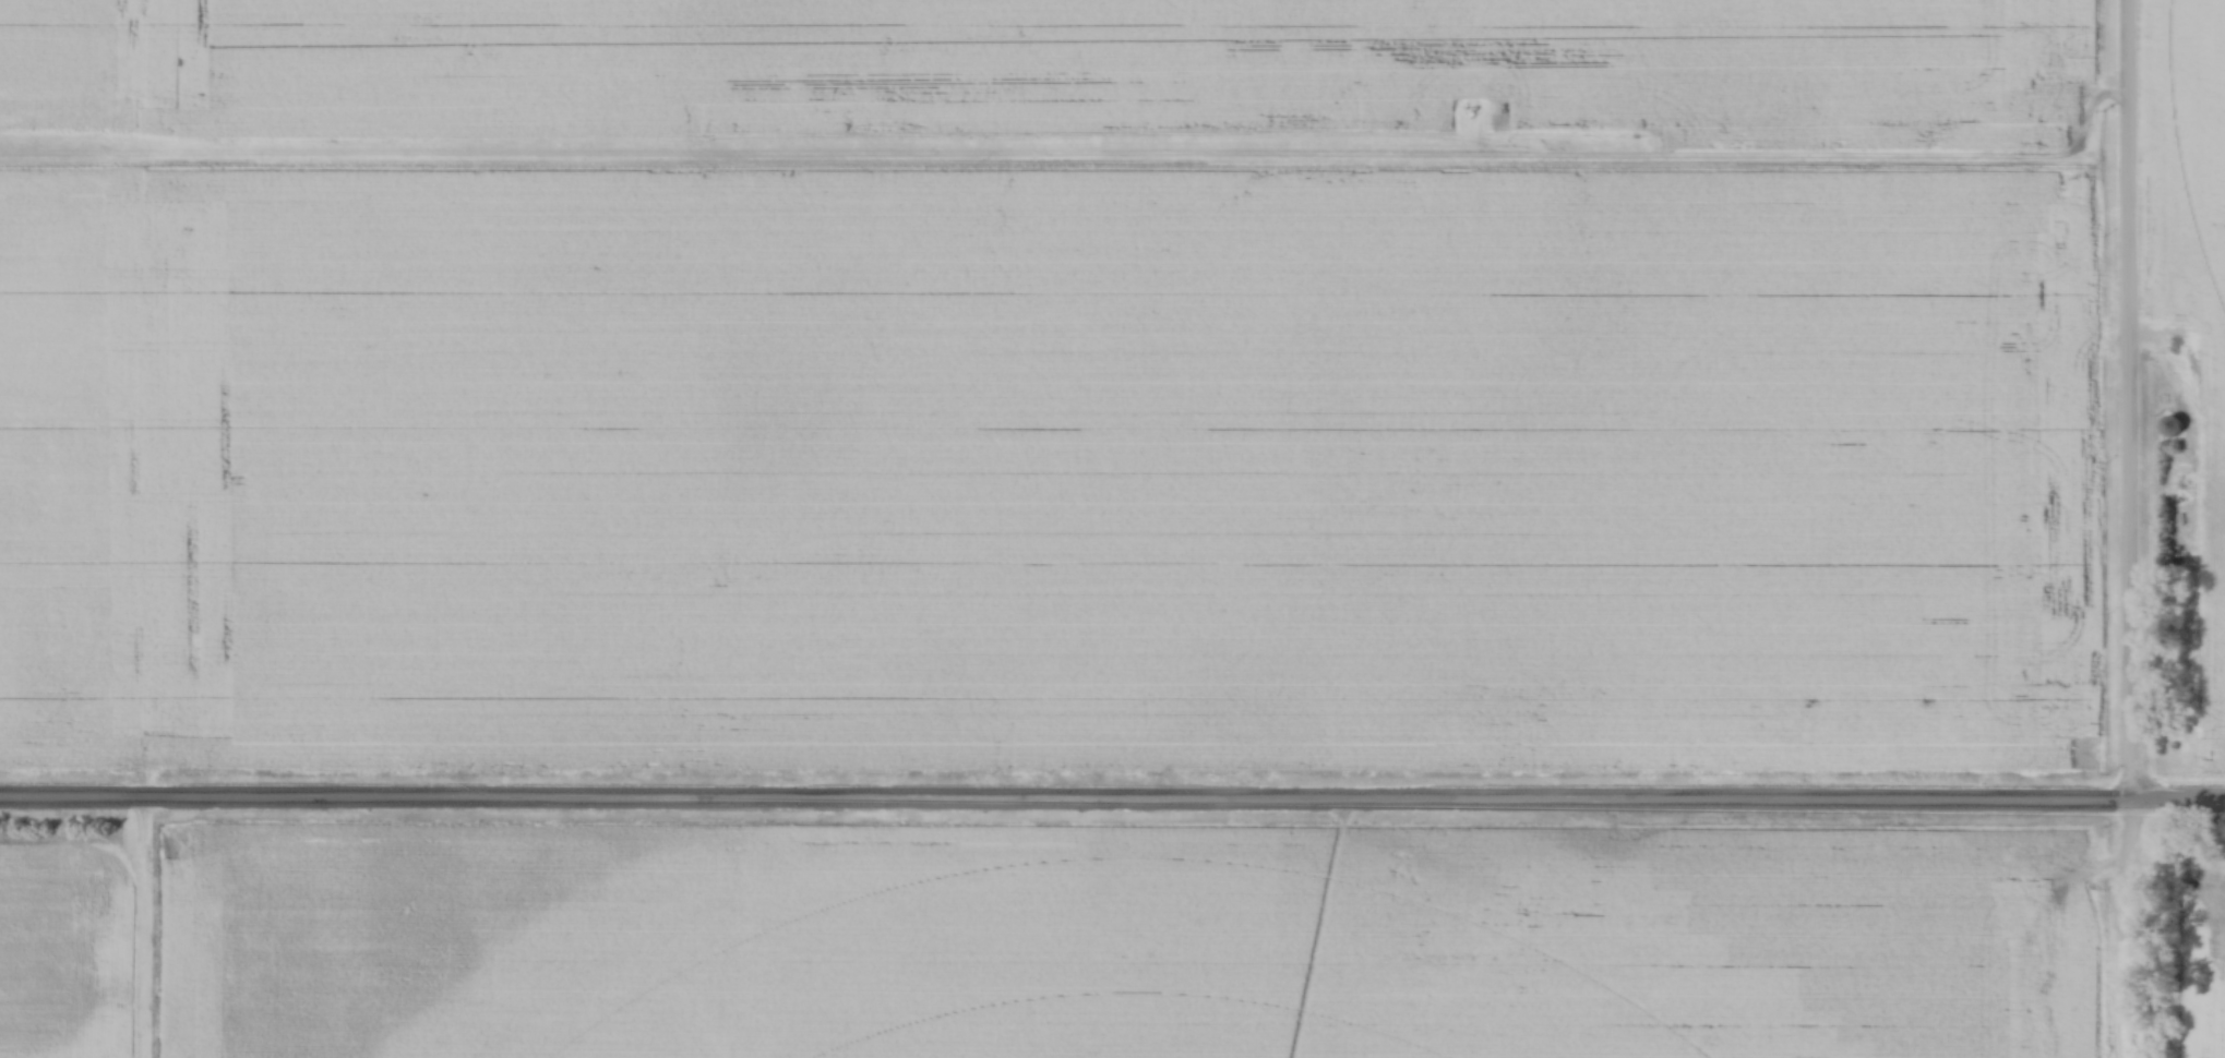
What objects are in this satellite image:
building: (2172, 428)
road: (2130, 529)
road: (1112, 802)

